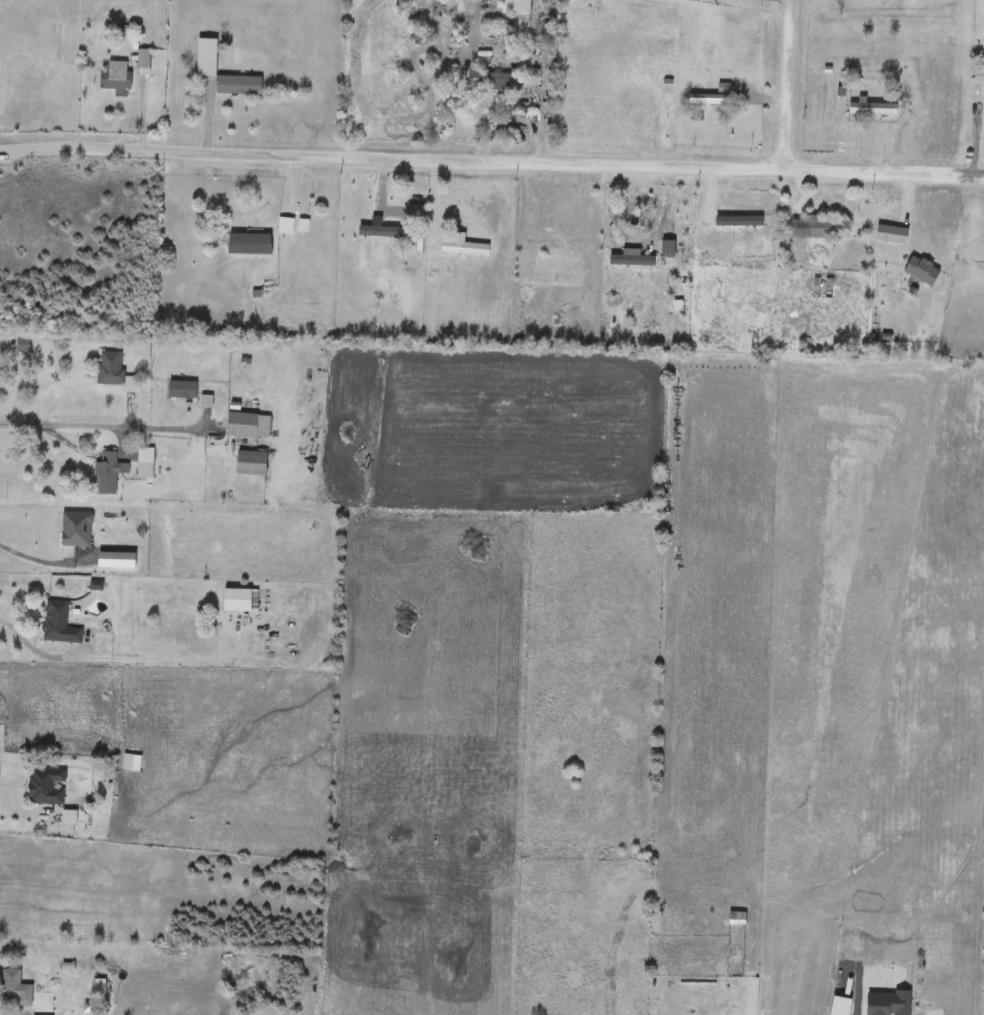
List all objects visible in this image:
building: (515, 8)
building: (550, 33)
building: (207, 58)
building: (143, 62)
building: (115, 76)
building: (484, 79)
road: (784, 79)
building: (241, 85)
road: (541, 88)
building: (709, 100)
building: (874, 109)
road: (491, 151)
building: (643, 222)
building: (818, 227)
building: (249, 241)
building: (663, 250)
building: (922, 270)
building: (823, 286)
road: (5, 339)
building: (23, 343)
building: (109, 368)
building: (132, 383)
building: (183, 389)
building: (249, 425)
road: (97, 427)
building: (253, 463)
building: (108, 473)
road: (38, 561)
building: (241, 599)
building: (59, 623)
road: (35, 657)
building: (128, 761)
building: (47, 785)
road: (26, 810)
building: (11, 983)

